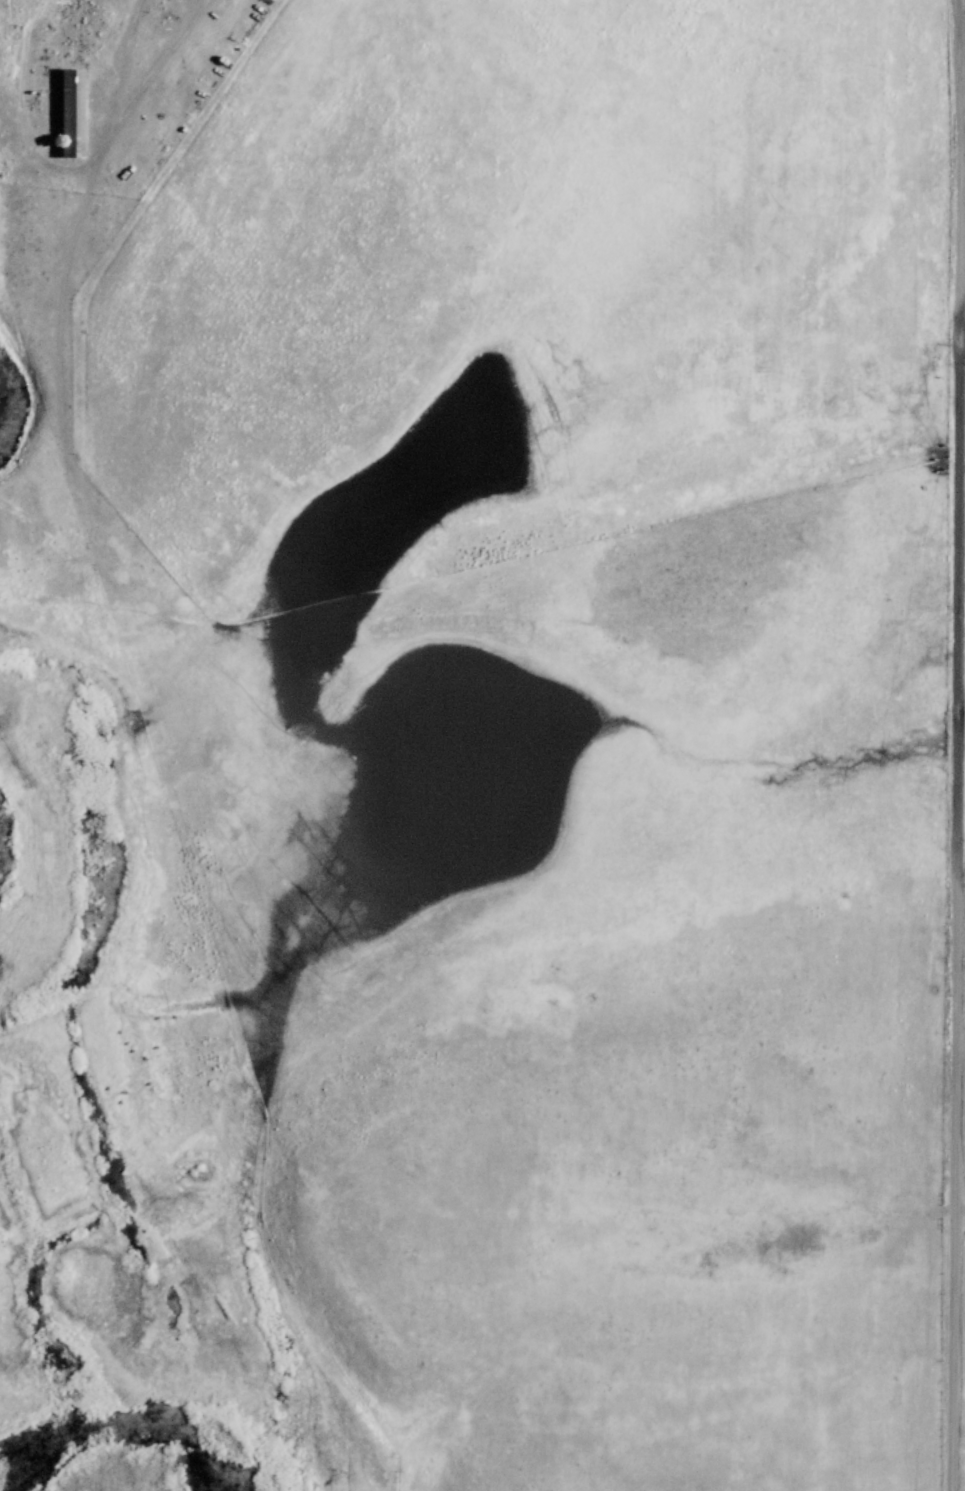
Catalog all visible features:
building: (66, 113)
road: (960, 745)

